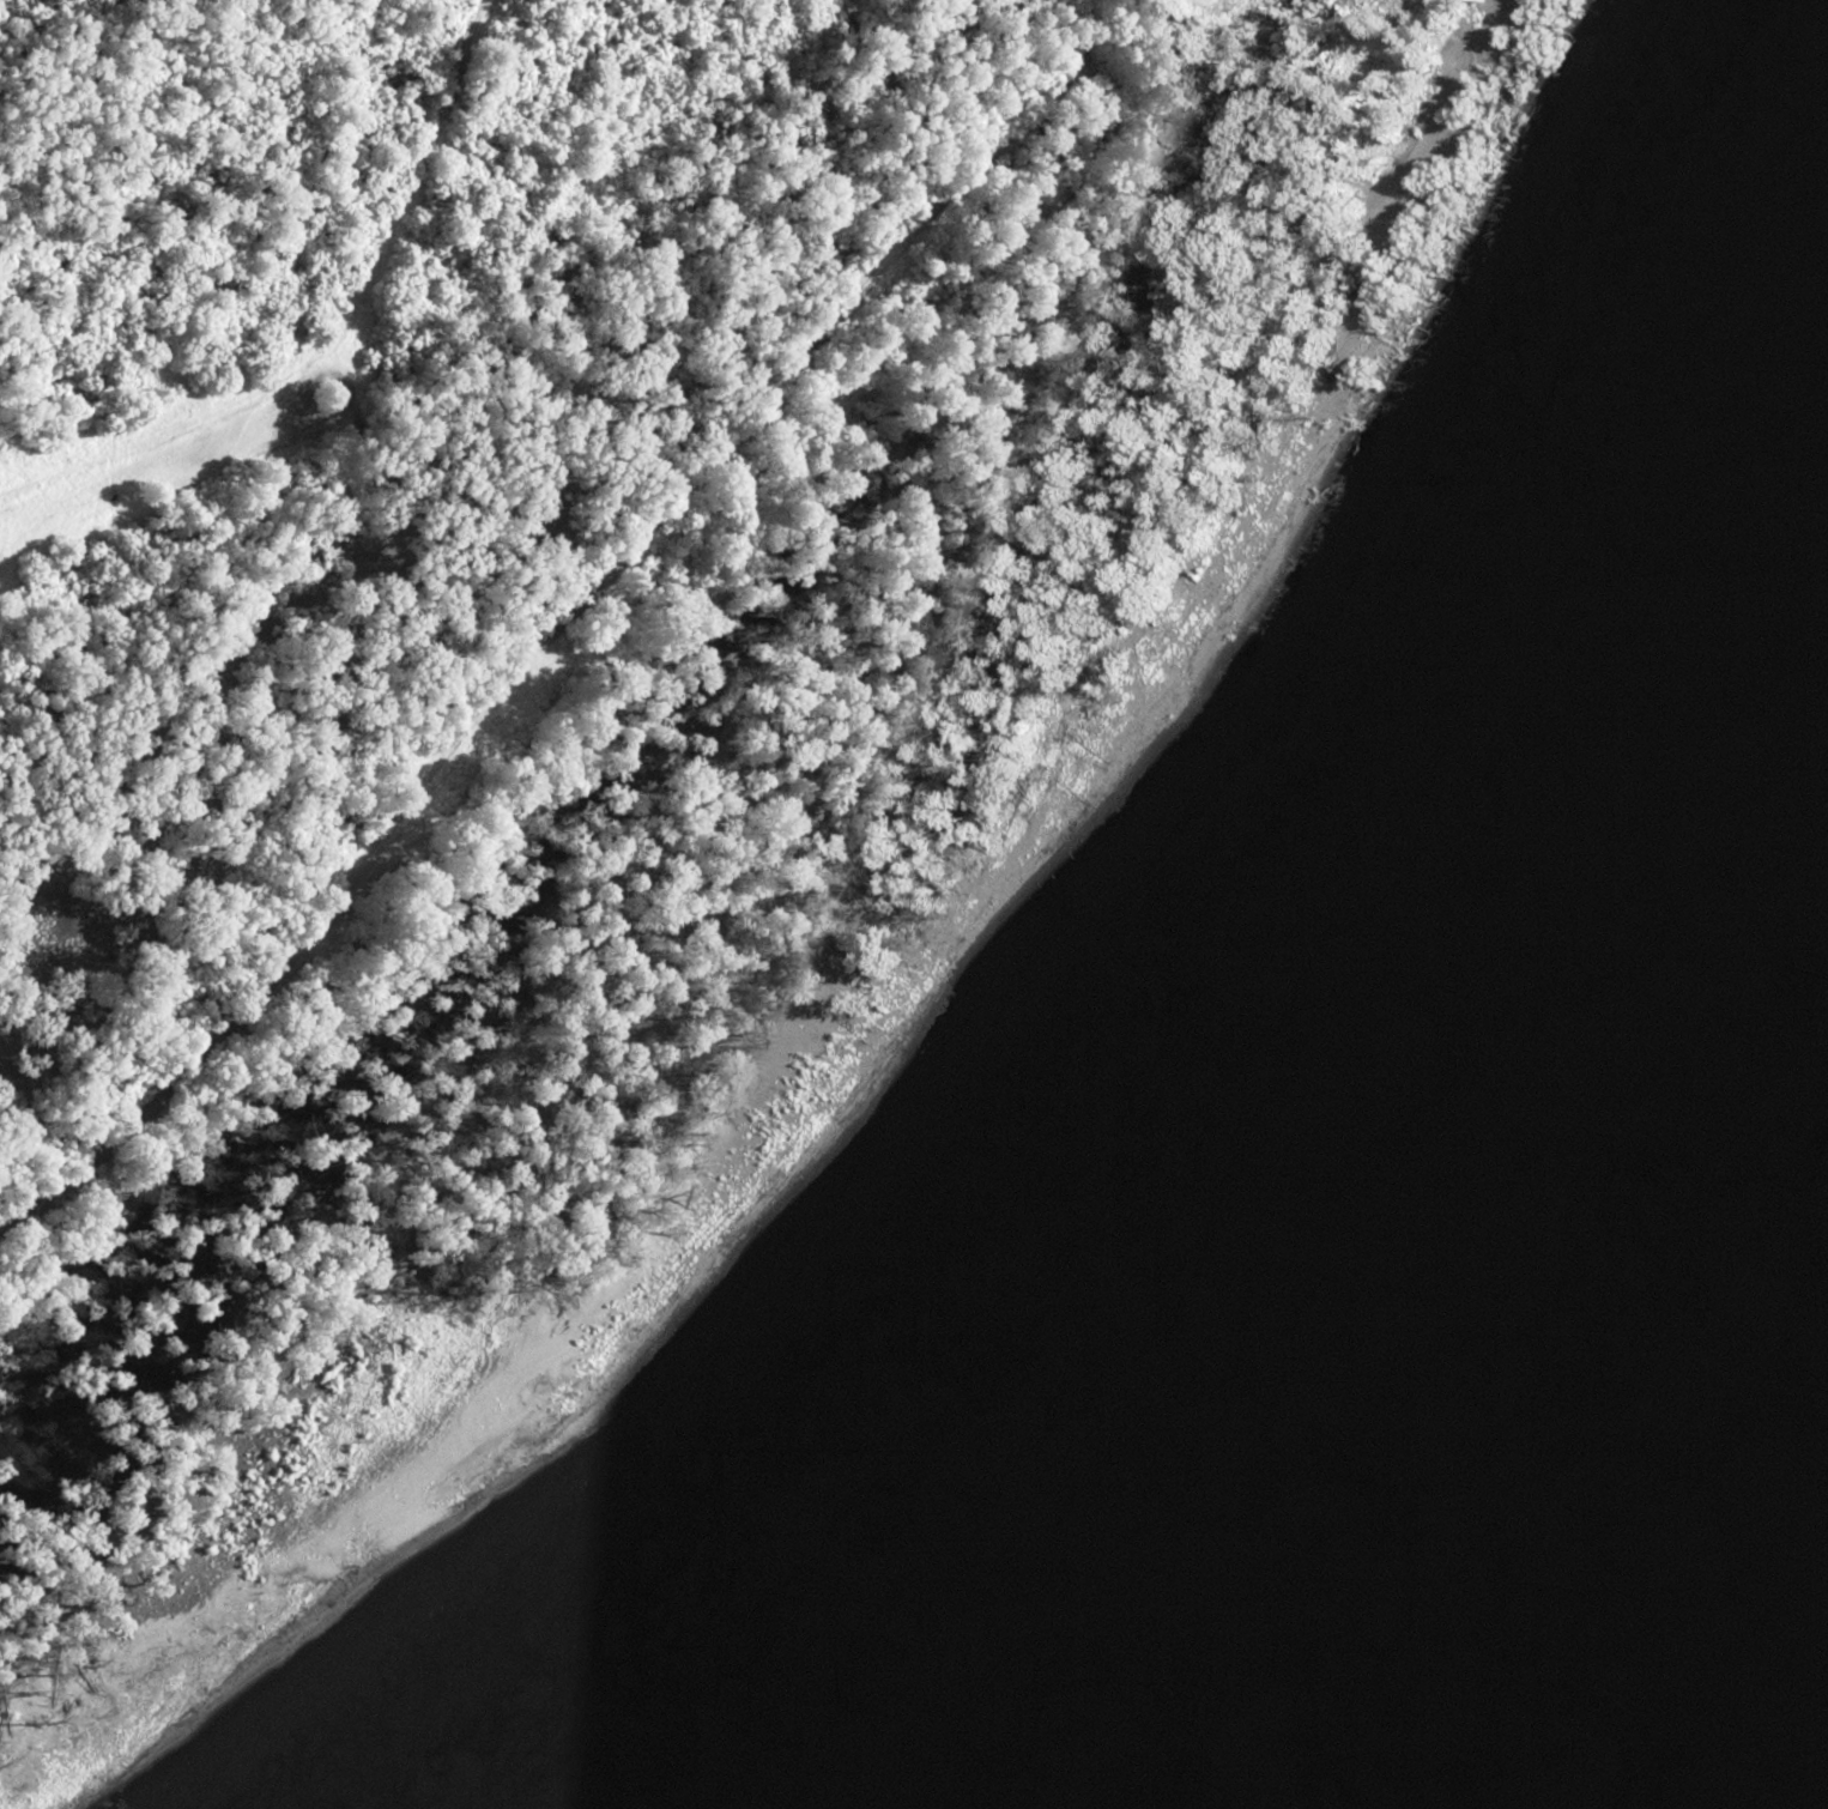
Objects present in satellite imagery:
road: (326, 337)
river: (1702, 1700)

